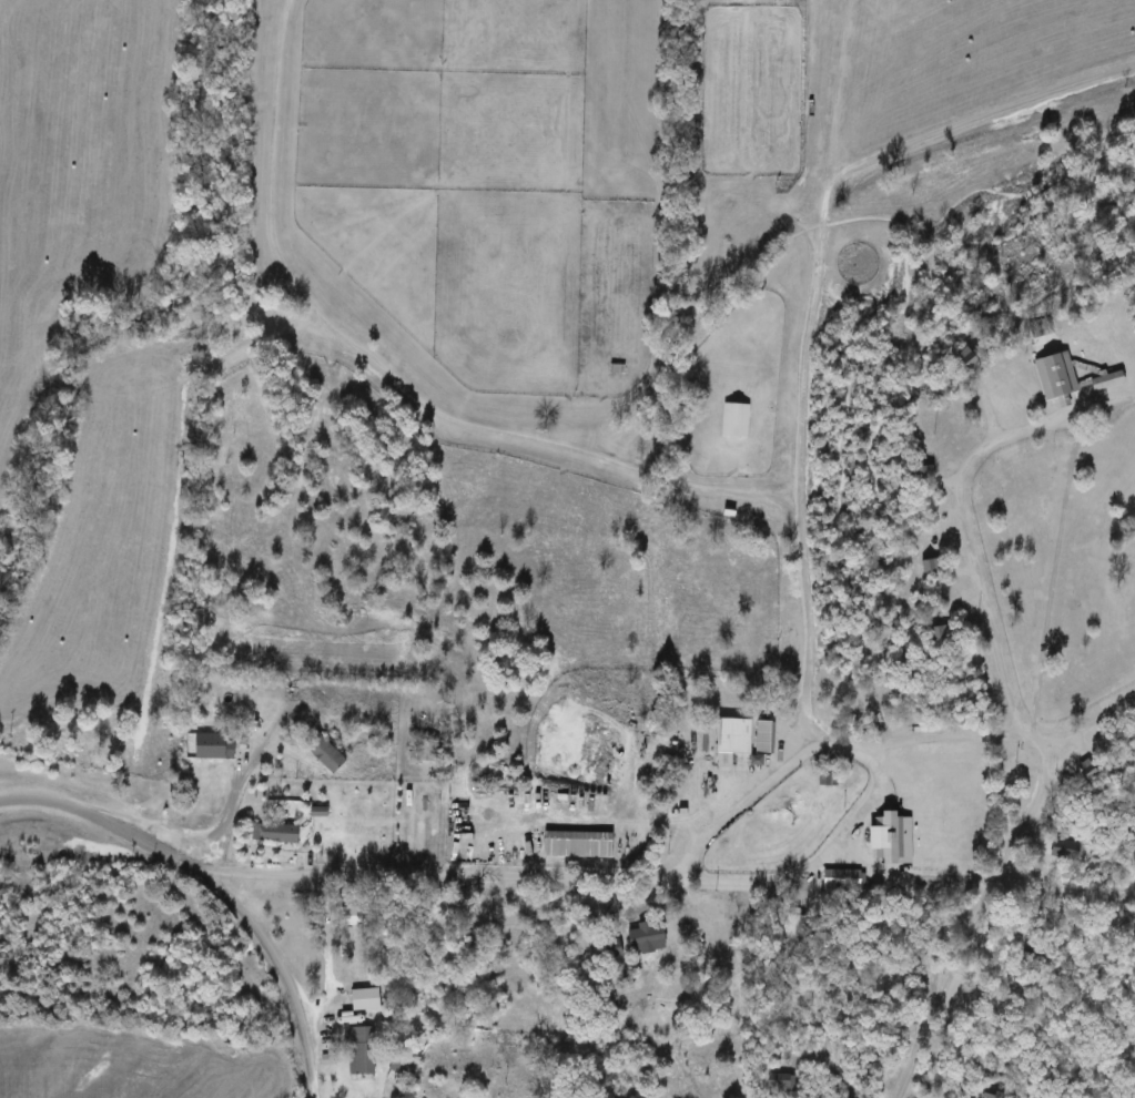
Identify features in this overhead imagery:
building: (737, 421)
road: (802, 478)
road: (959, 505)
road: (1052, 572)
road: (1087, 722)
building: (747, 736)
building: (216, 745)
building: (430, 751)
building: (328, 754)
building: (828, 777)
road: (875, 785)
road: (234, 801)
road: (1027, 810)
road: (609, 817)
building: (277, 834)
building: (892, 837)
road: (413, 874)
building: (842, 881)
road: (215, 887)
building: (355, 919)
building: (503, 923)
building: (649, 937)
building: (368, 999)
building: (363, 1054)
building: (406, 1066)

